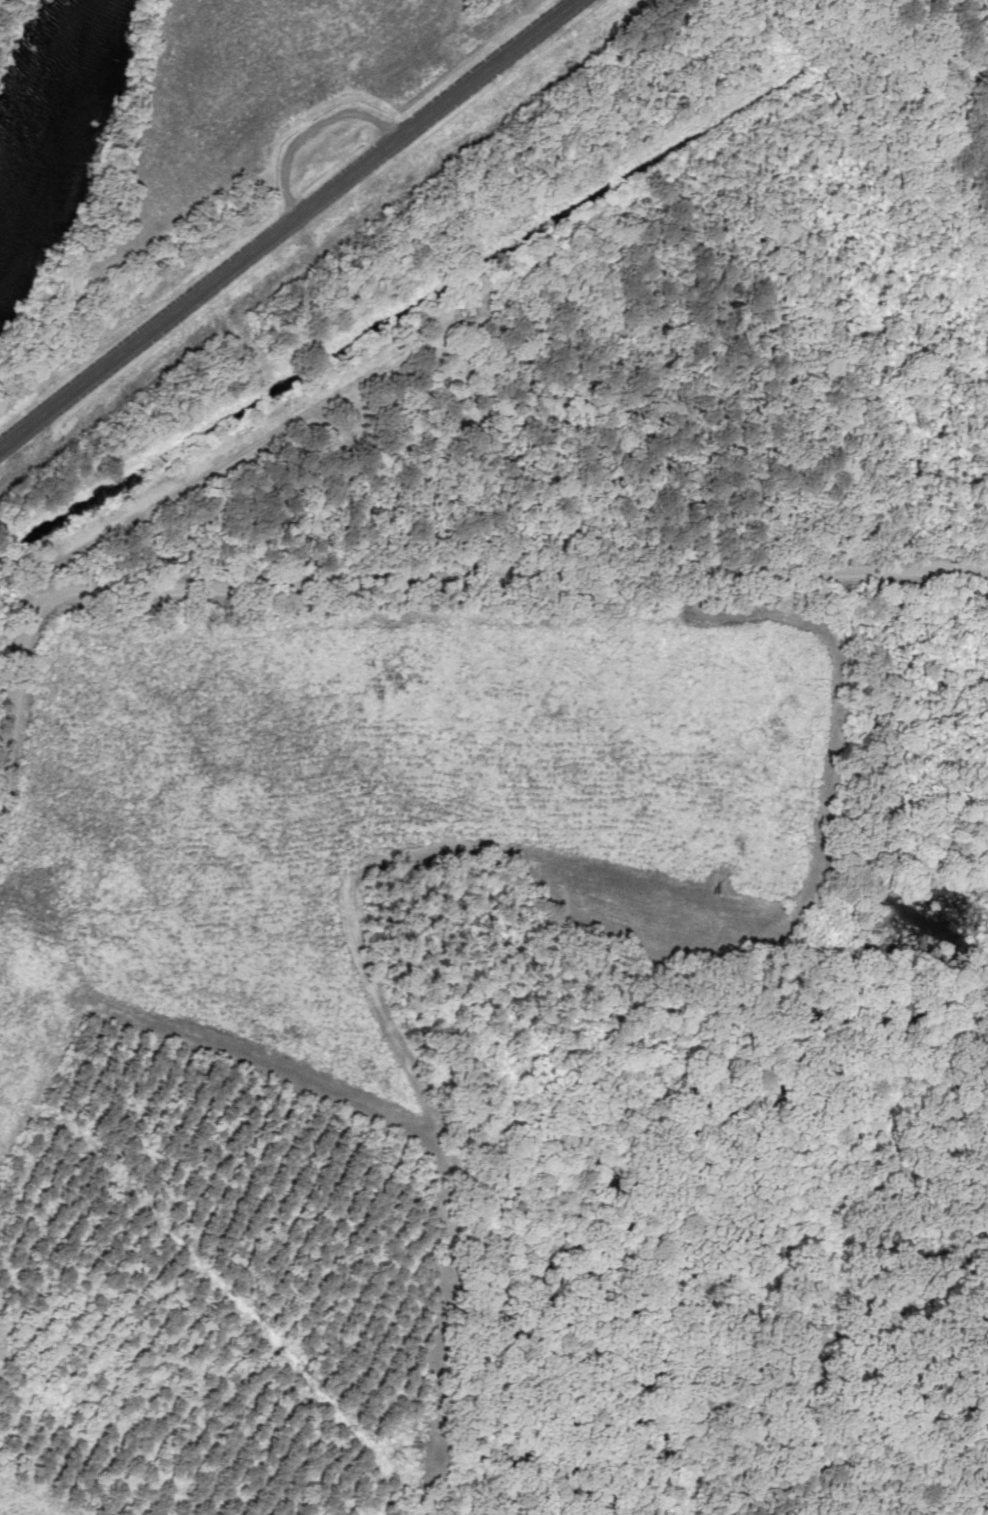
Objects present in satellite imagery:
road: (372, 154)
road: (88, 377)
road: (392, 583)

